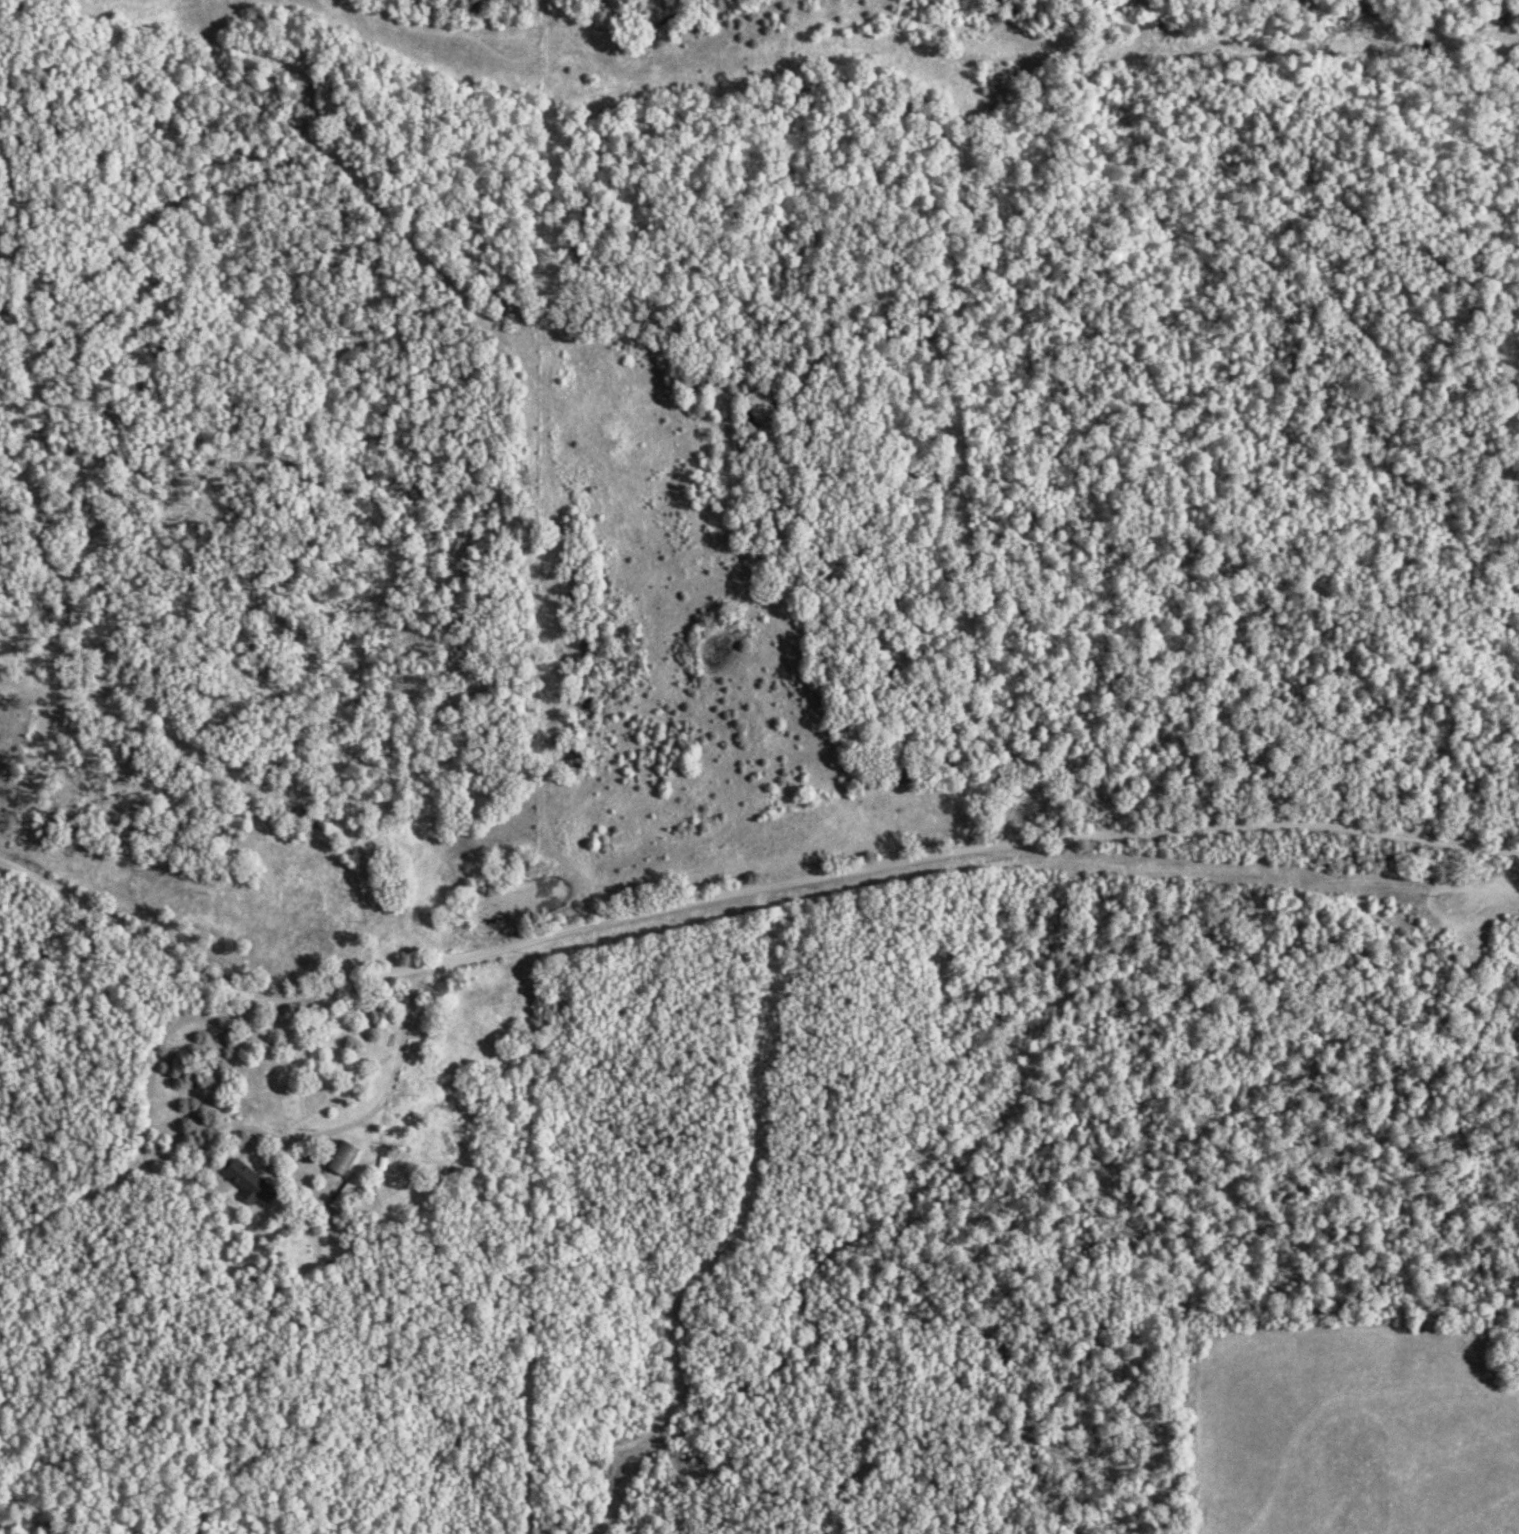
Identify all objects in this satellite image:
park: (18, 755)
road: (744, 888)
road: (399, 1043)
road: (139, 1077)
building: (348, 1159)
building: (253, 1185)
building: (350, 1193)

